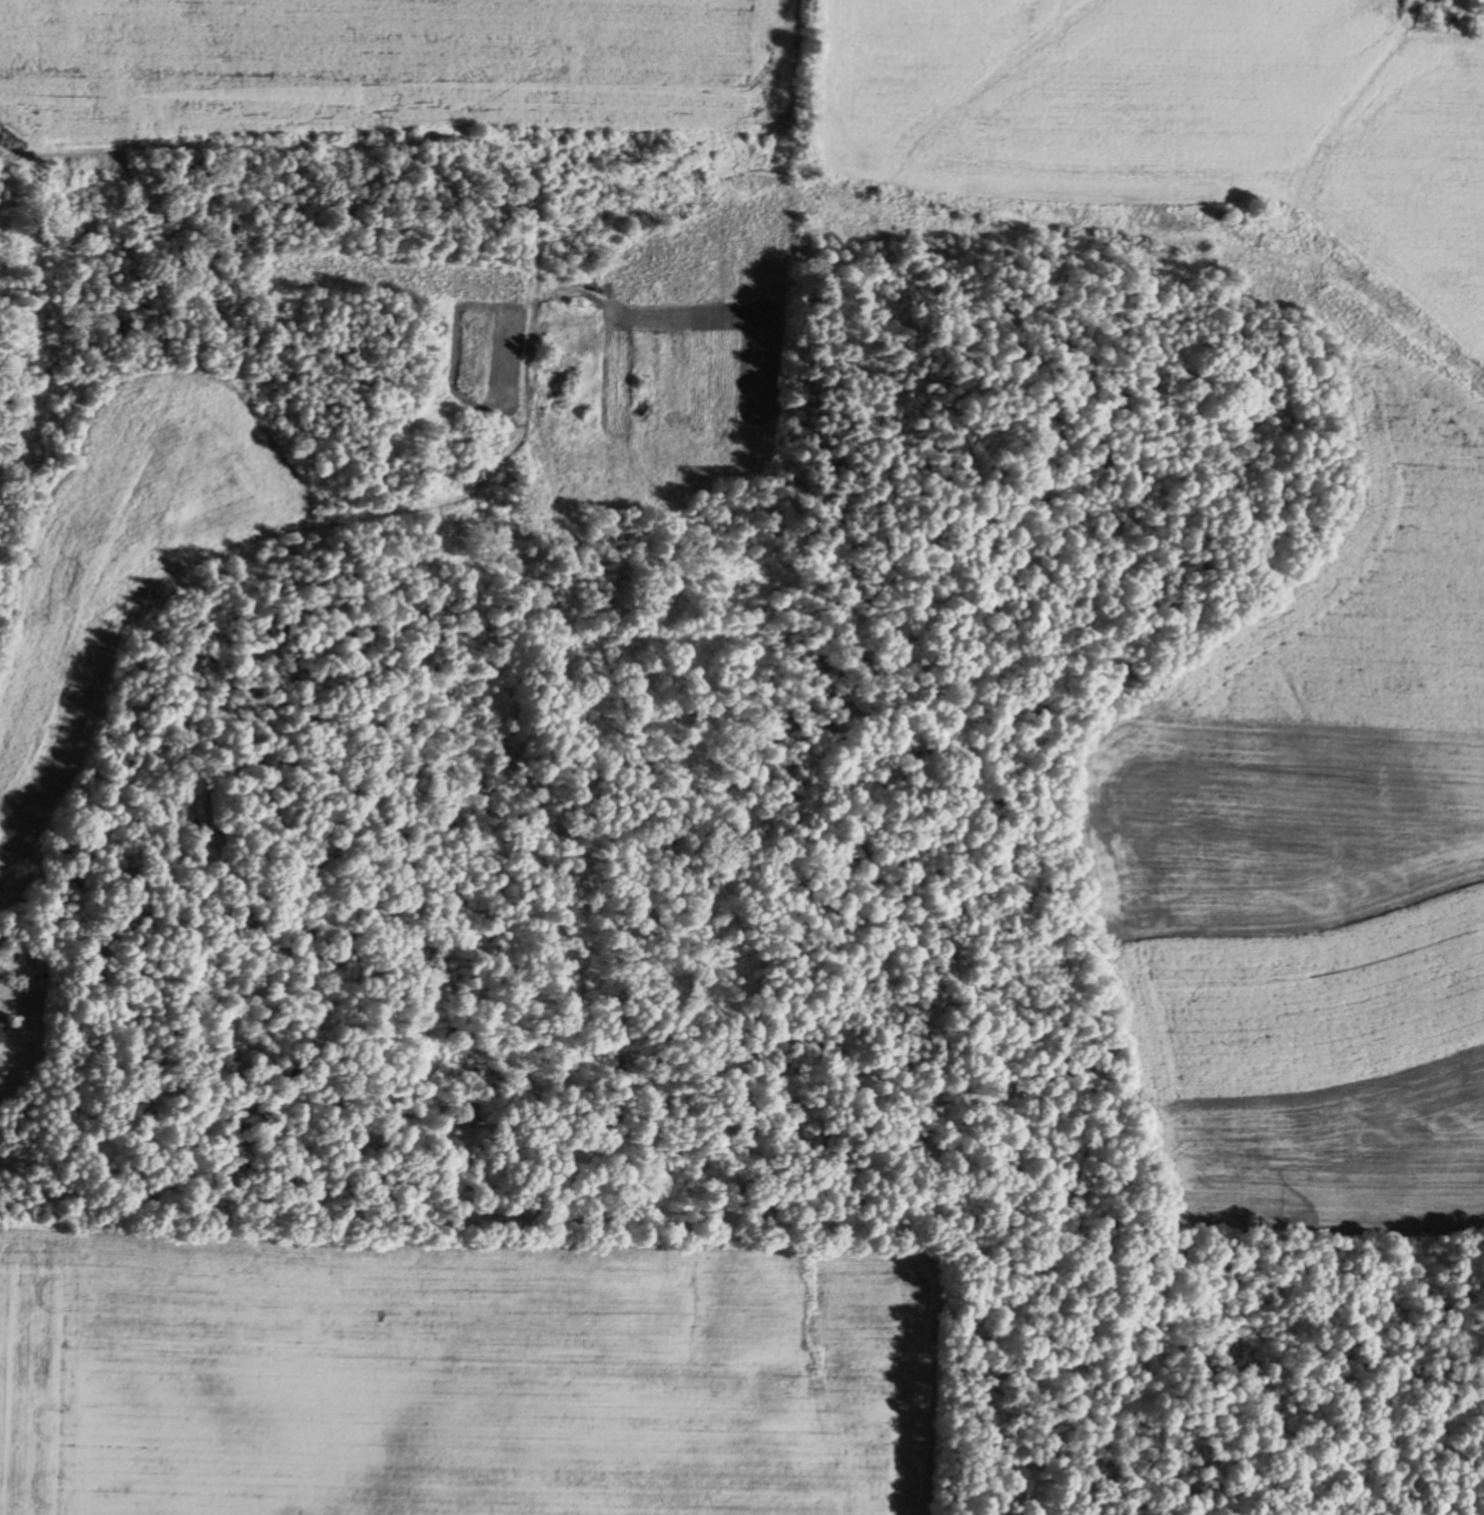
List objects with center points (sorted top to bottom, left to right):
building: (1, 1035)

